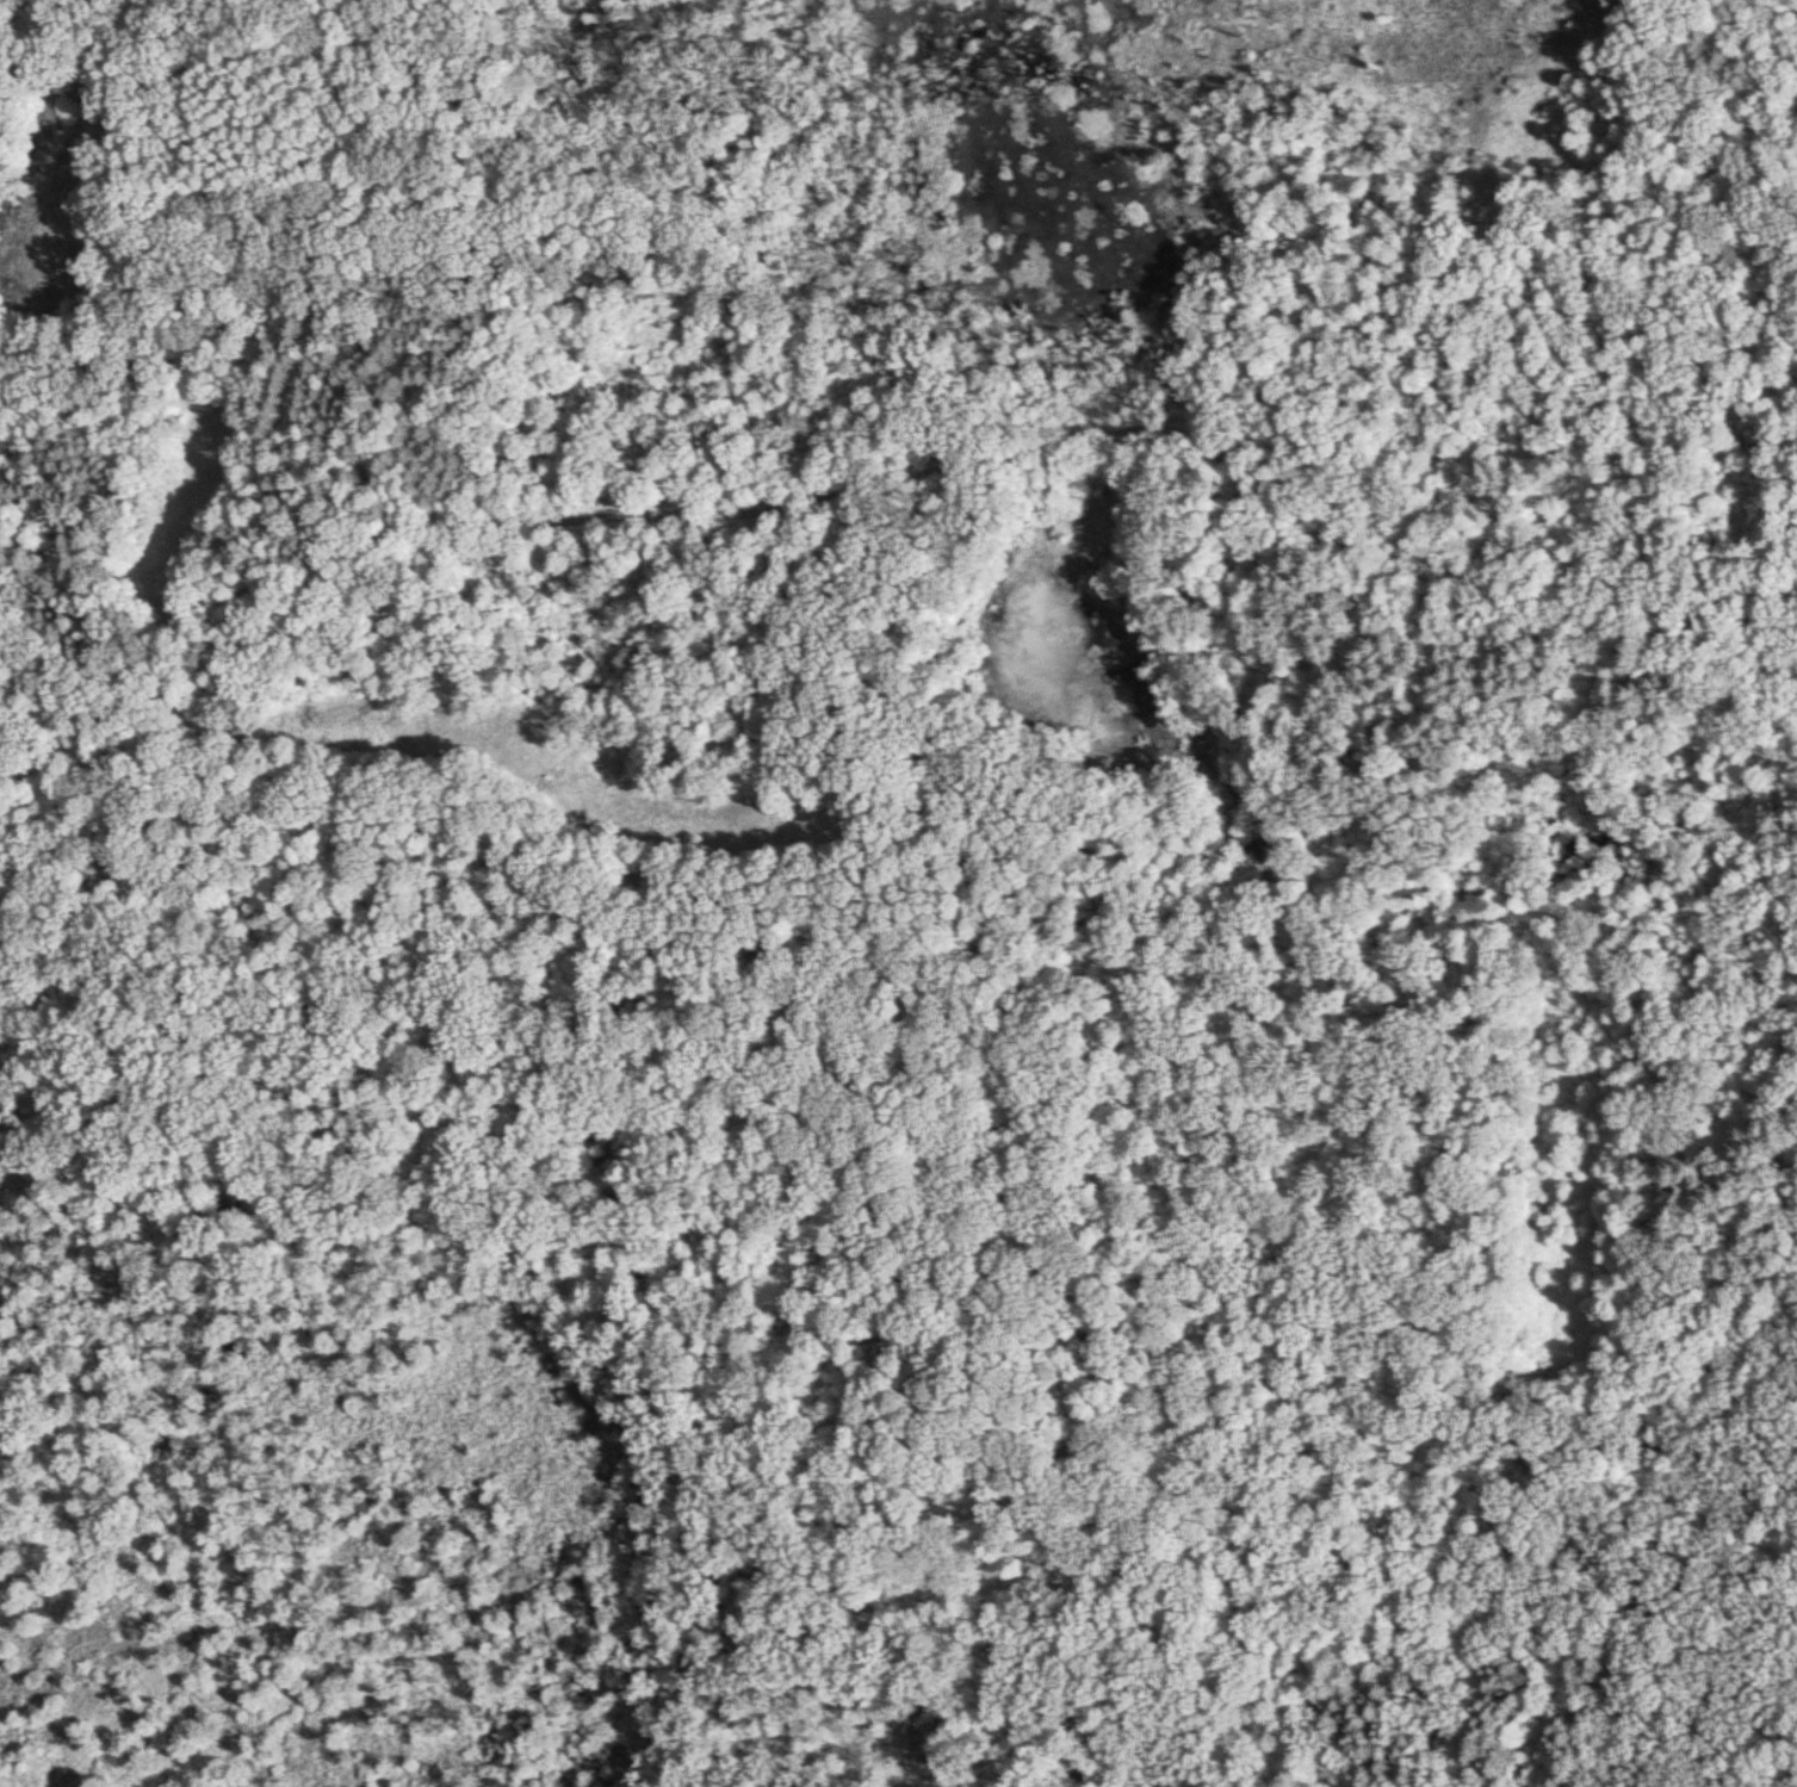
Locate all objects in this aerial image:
road: (817, 494)
road: (1680, 1584)

